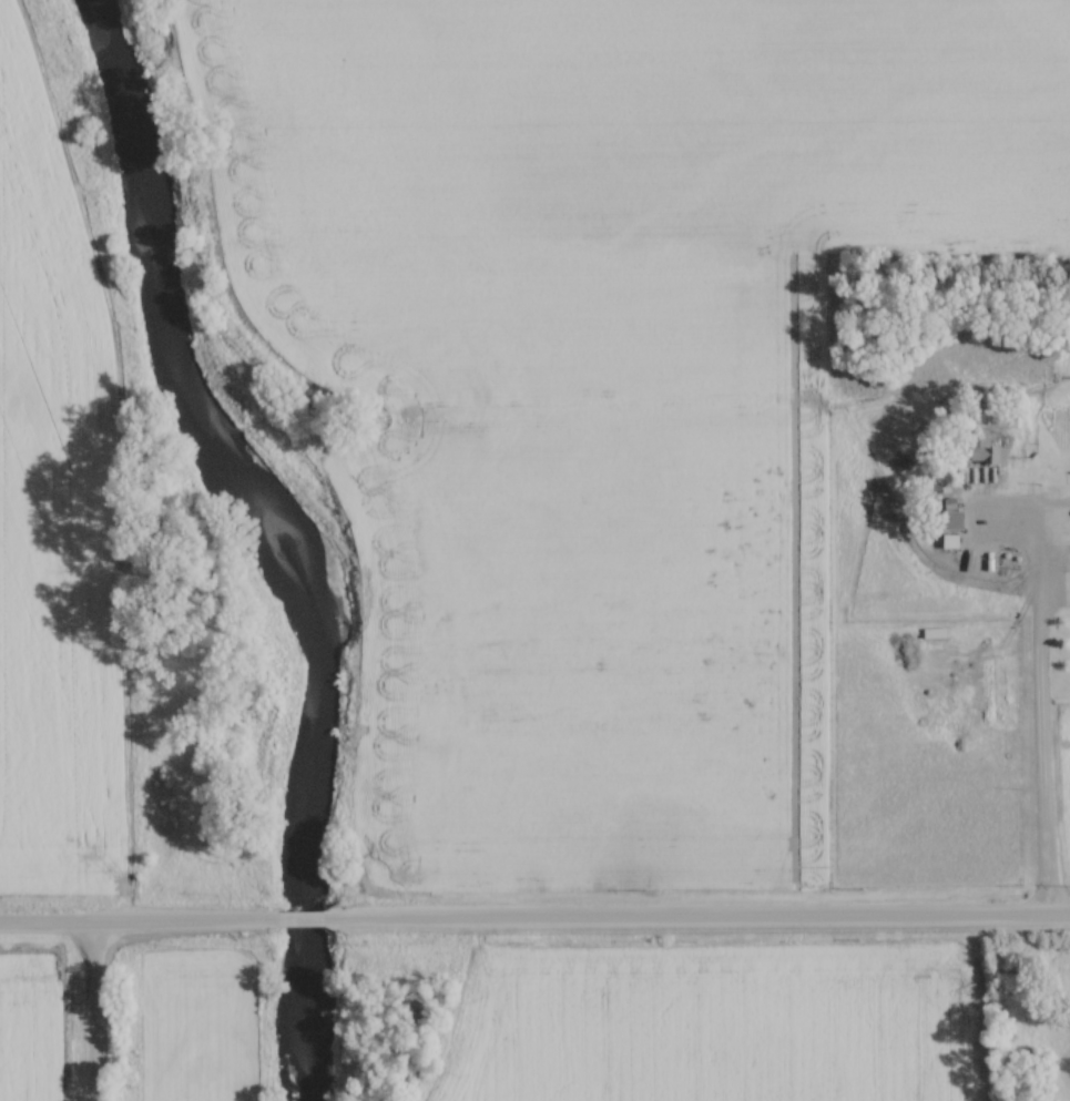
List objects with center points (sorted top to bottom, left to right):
building: (987, 448)
building: (954, 512)
river: (292, 524)
road: (1038, 710)
road: (697, 917)
road: (302, 918)
road: (140, 919)
building: (1064, 1019)

